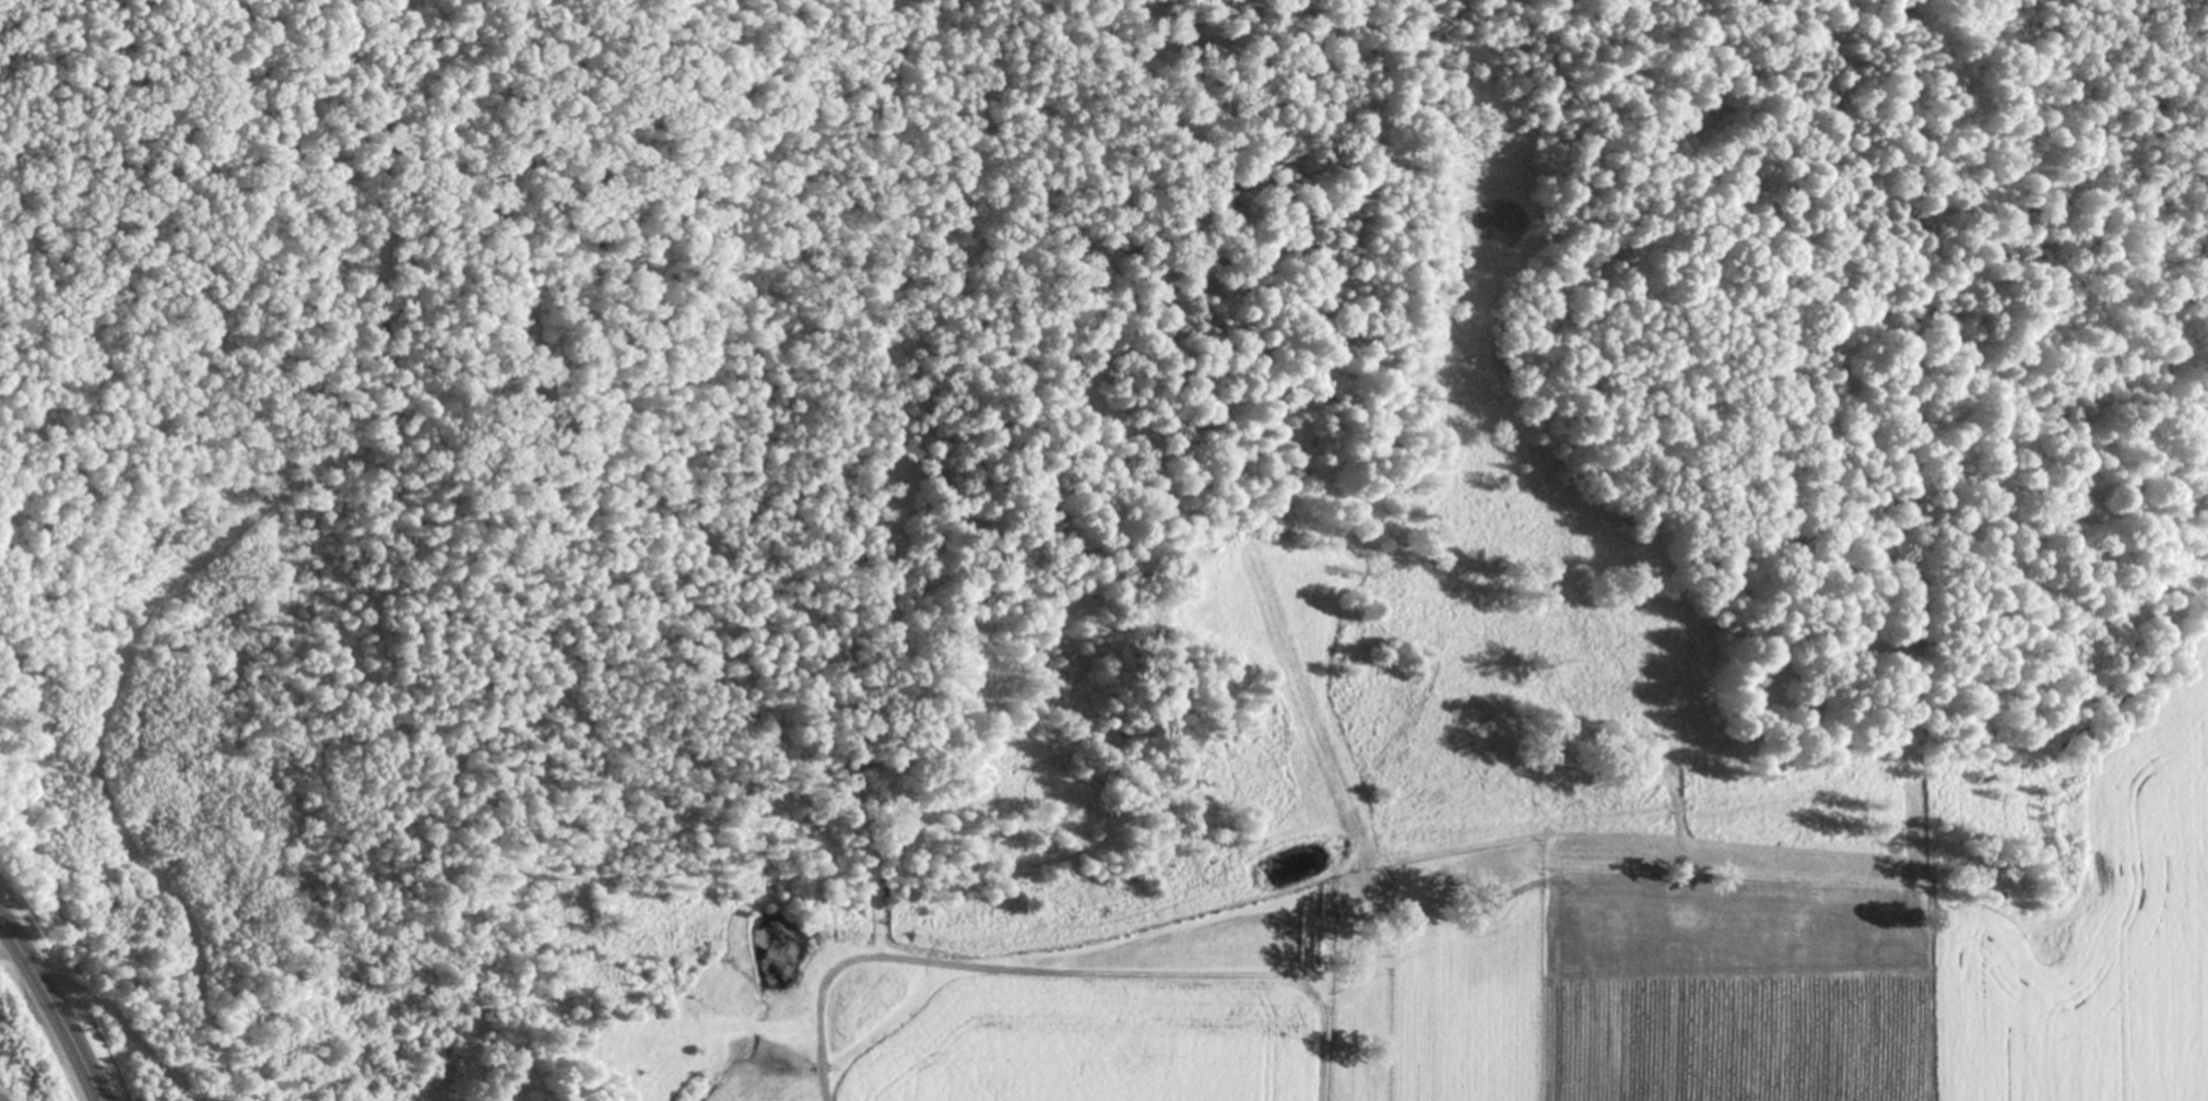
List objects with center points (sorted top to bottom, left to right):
crop: (1664, 978)
road: (54, 1008)

